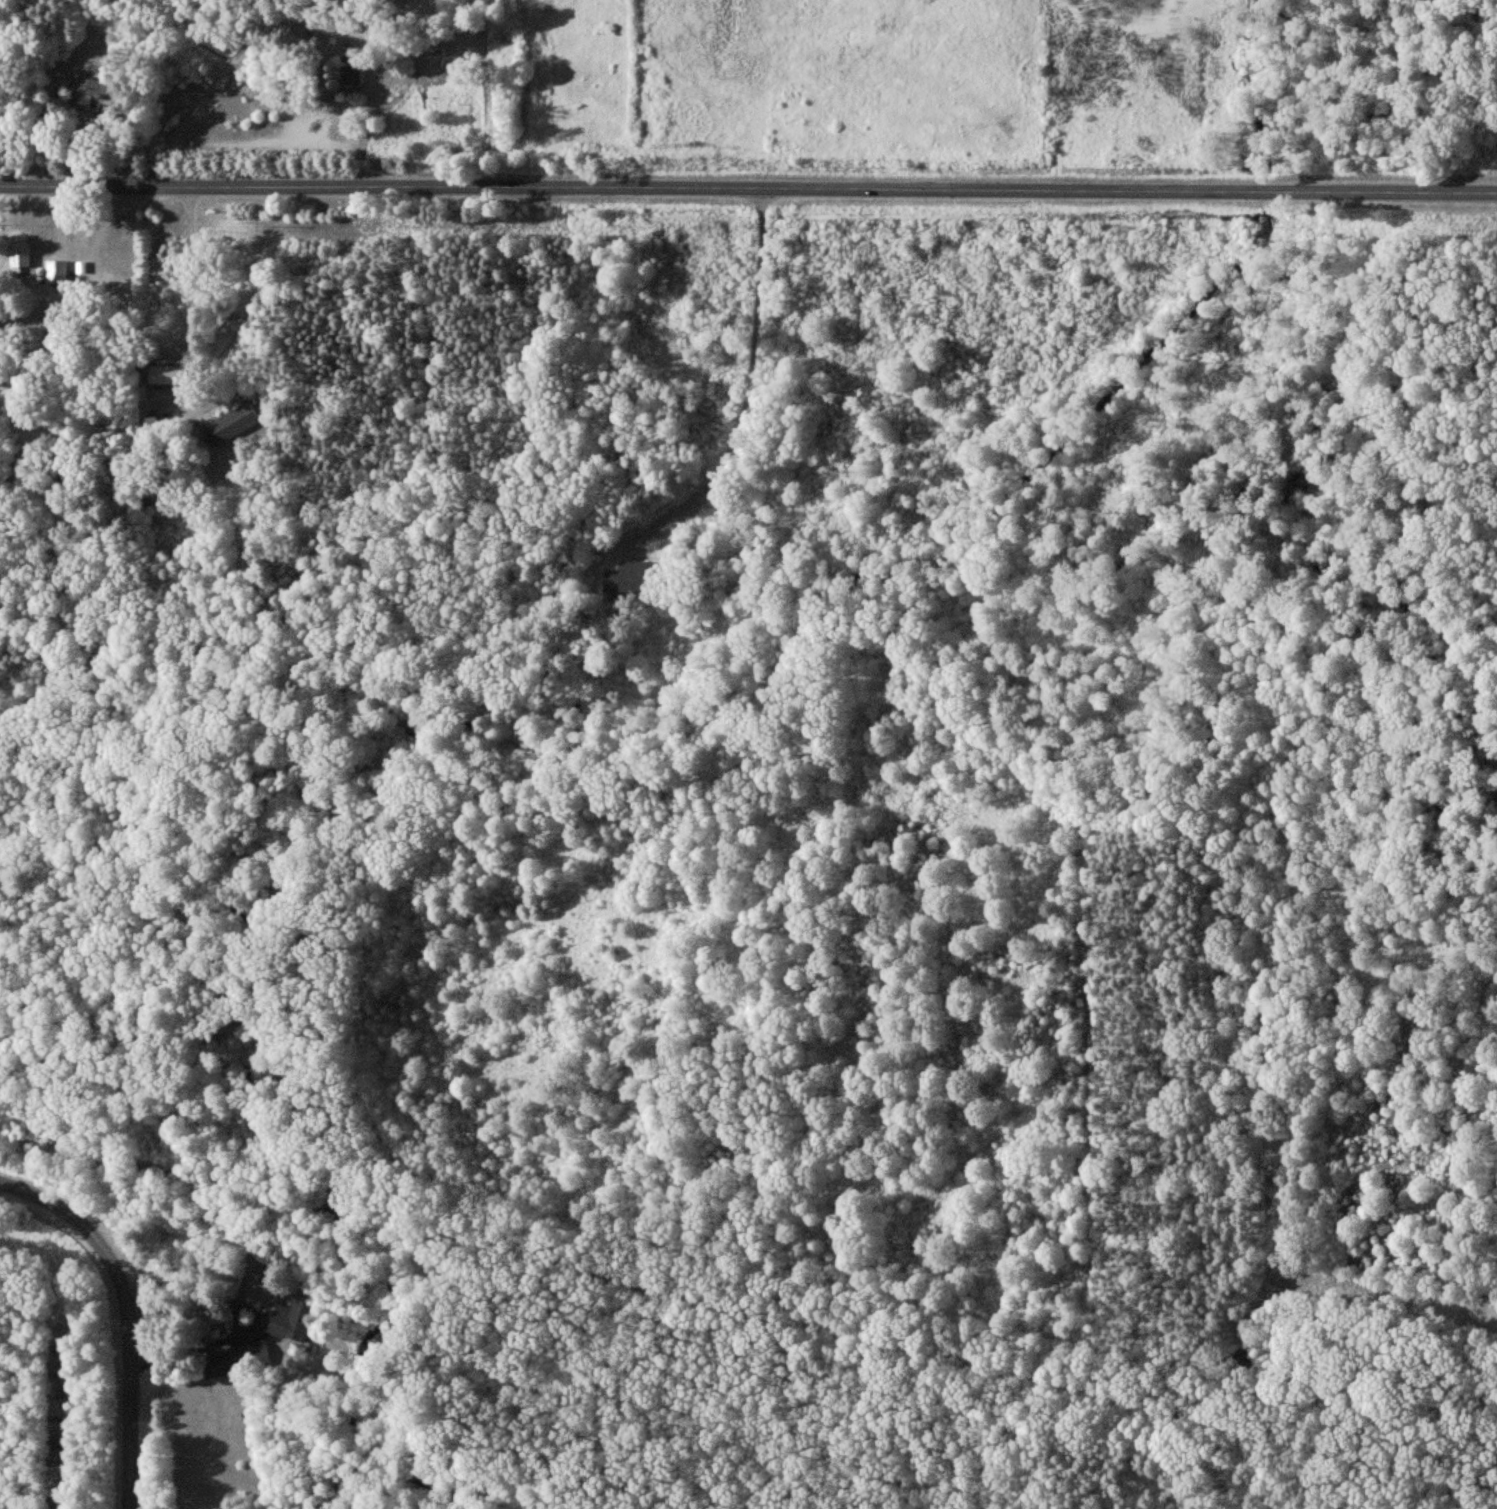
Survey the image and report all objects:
building: (351, 74)
building: (88, 89)
road: (748, 189)
building: (20, 251)
building: (56, 271)
road: (192, 302)
building: (168, 374)
road: (743, 410)
building: (230, 424)
building: (630, 580)
road: (1368, 1298)
road: (748, 1311)
road: (129, 1312)
building: (293, 1321)
building: (237, 1359)

